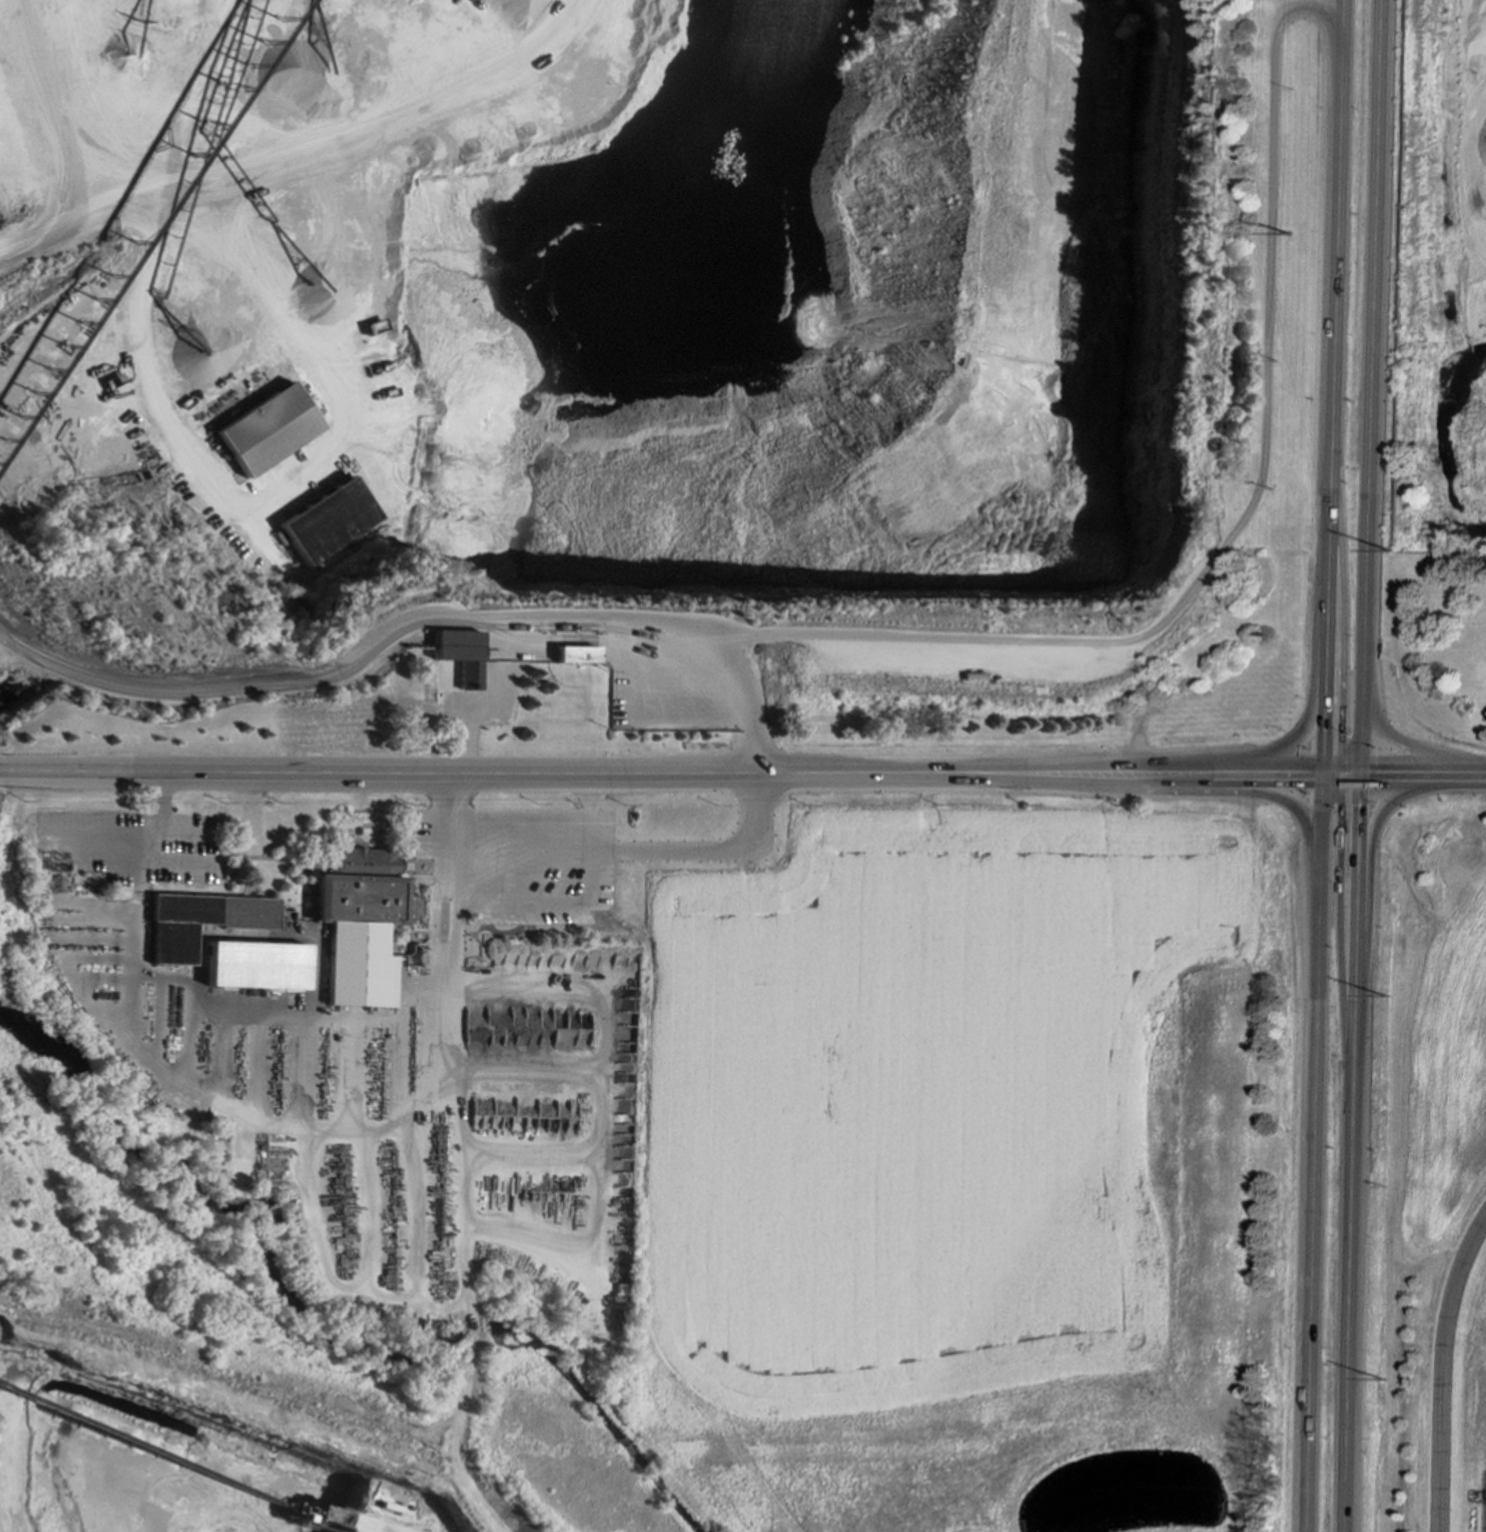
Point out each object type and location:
power tower: (1317, 235)
quarry: (1447, 289)
quarry: (667, 376)
road: (1333, 385)
road: (1371, 385)
building: (292, 430)
building: (352, 522)
road: (1242, 525)
power tower: (1406, 555)
road: (547, 622)
building: (458, 655)
building: (575, 655)
road: (1319, 701)
road: (746, 702)
road: (1415, 749)
road: (40, 766)
road: (650, 769)
road: (1275, 772)
traffic signals: (1330, 772)
road: (1348, 772)
traffic signals: (1366, 772)
road: (1401, 772)
road: (1461, 773)
road: (1236, 793)
road: (633, 856)
road: (136, 858)
road: (1374, 869)
building: (200, 922)
building: (359, 925)
building: (255, 966)
power tower: (1387, 1000)
road: (340, 1131)
road: (1316, 1151)
road: (1355, 1151)
quarry: (649, 1161)
road: (1441, 1369)
power tower: (1384, 1382)

